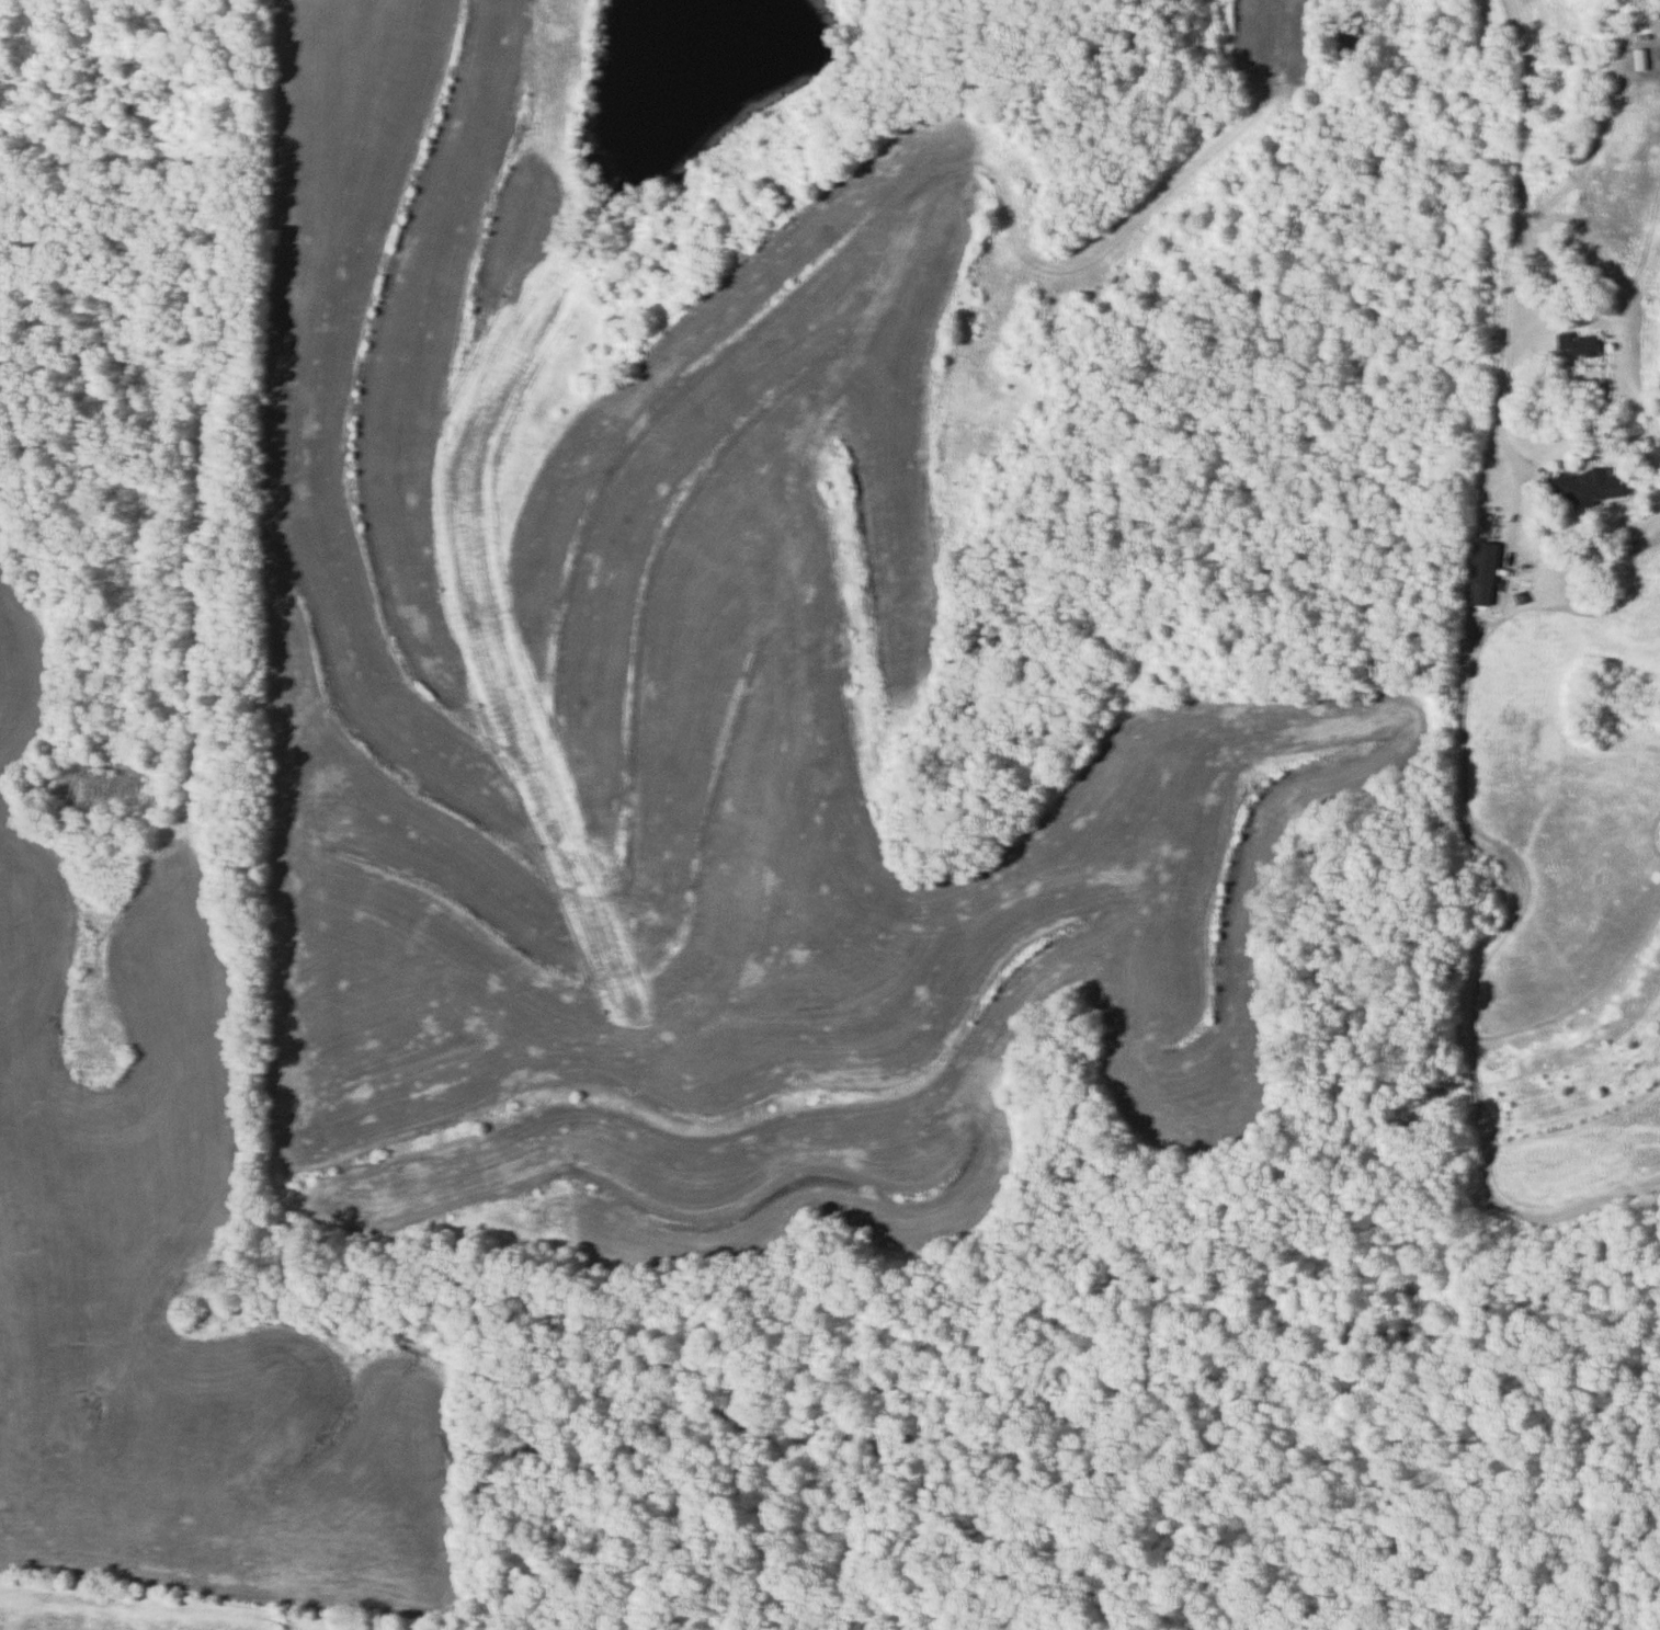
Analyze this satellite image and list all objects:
road: (1557, 271)
road: (1506, 289)
building: (1583, 345)
building: (1593, 489)
building: (1488, 563)

